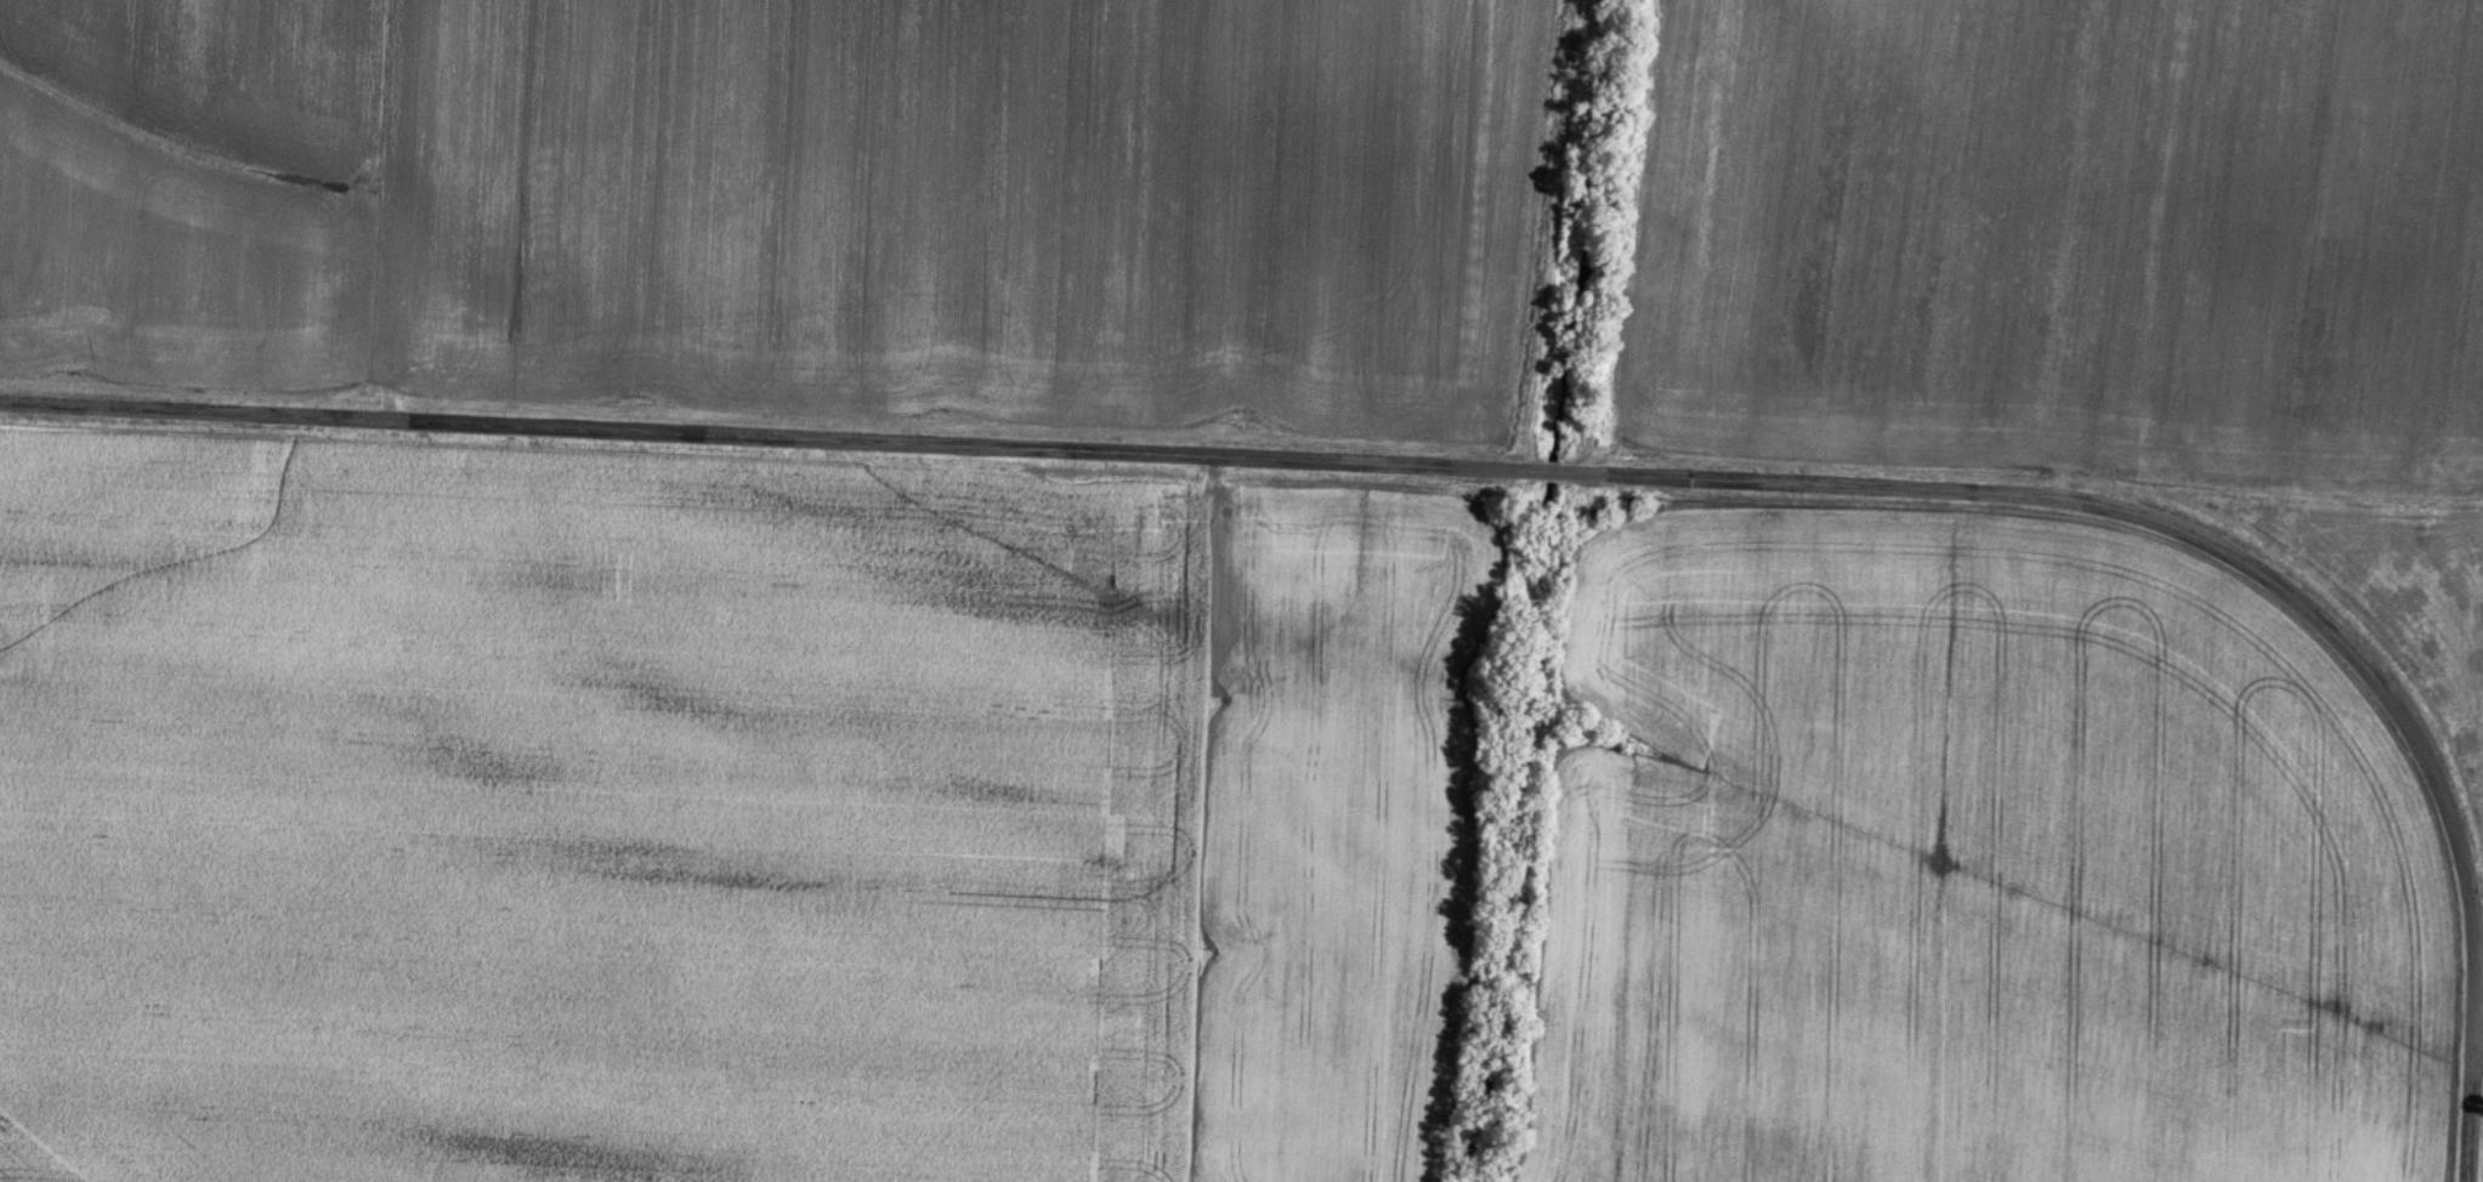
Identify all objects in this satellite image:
road: (1480, 467)

